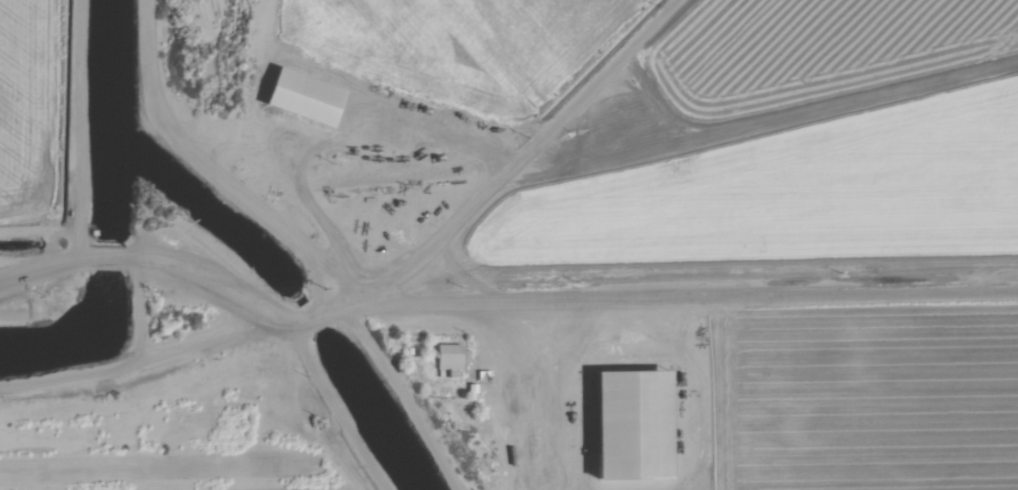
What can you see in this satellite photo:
crop: (468, 43)
crop: (820, 49)
building: (310, 92)
road: (116, 258)
road: (35, 274)
road: (226, 290)
road: (683, 300)
road: (321, 318)
building: (450, 356)
crop: (871, 400)
building: (635, 419)

